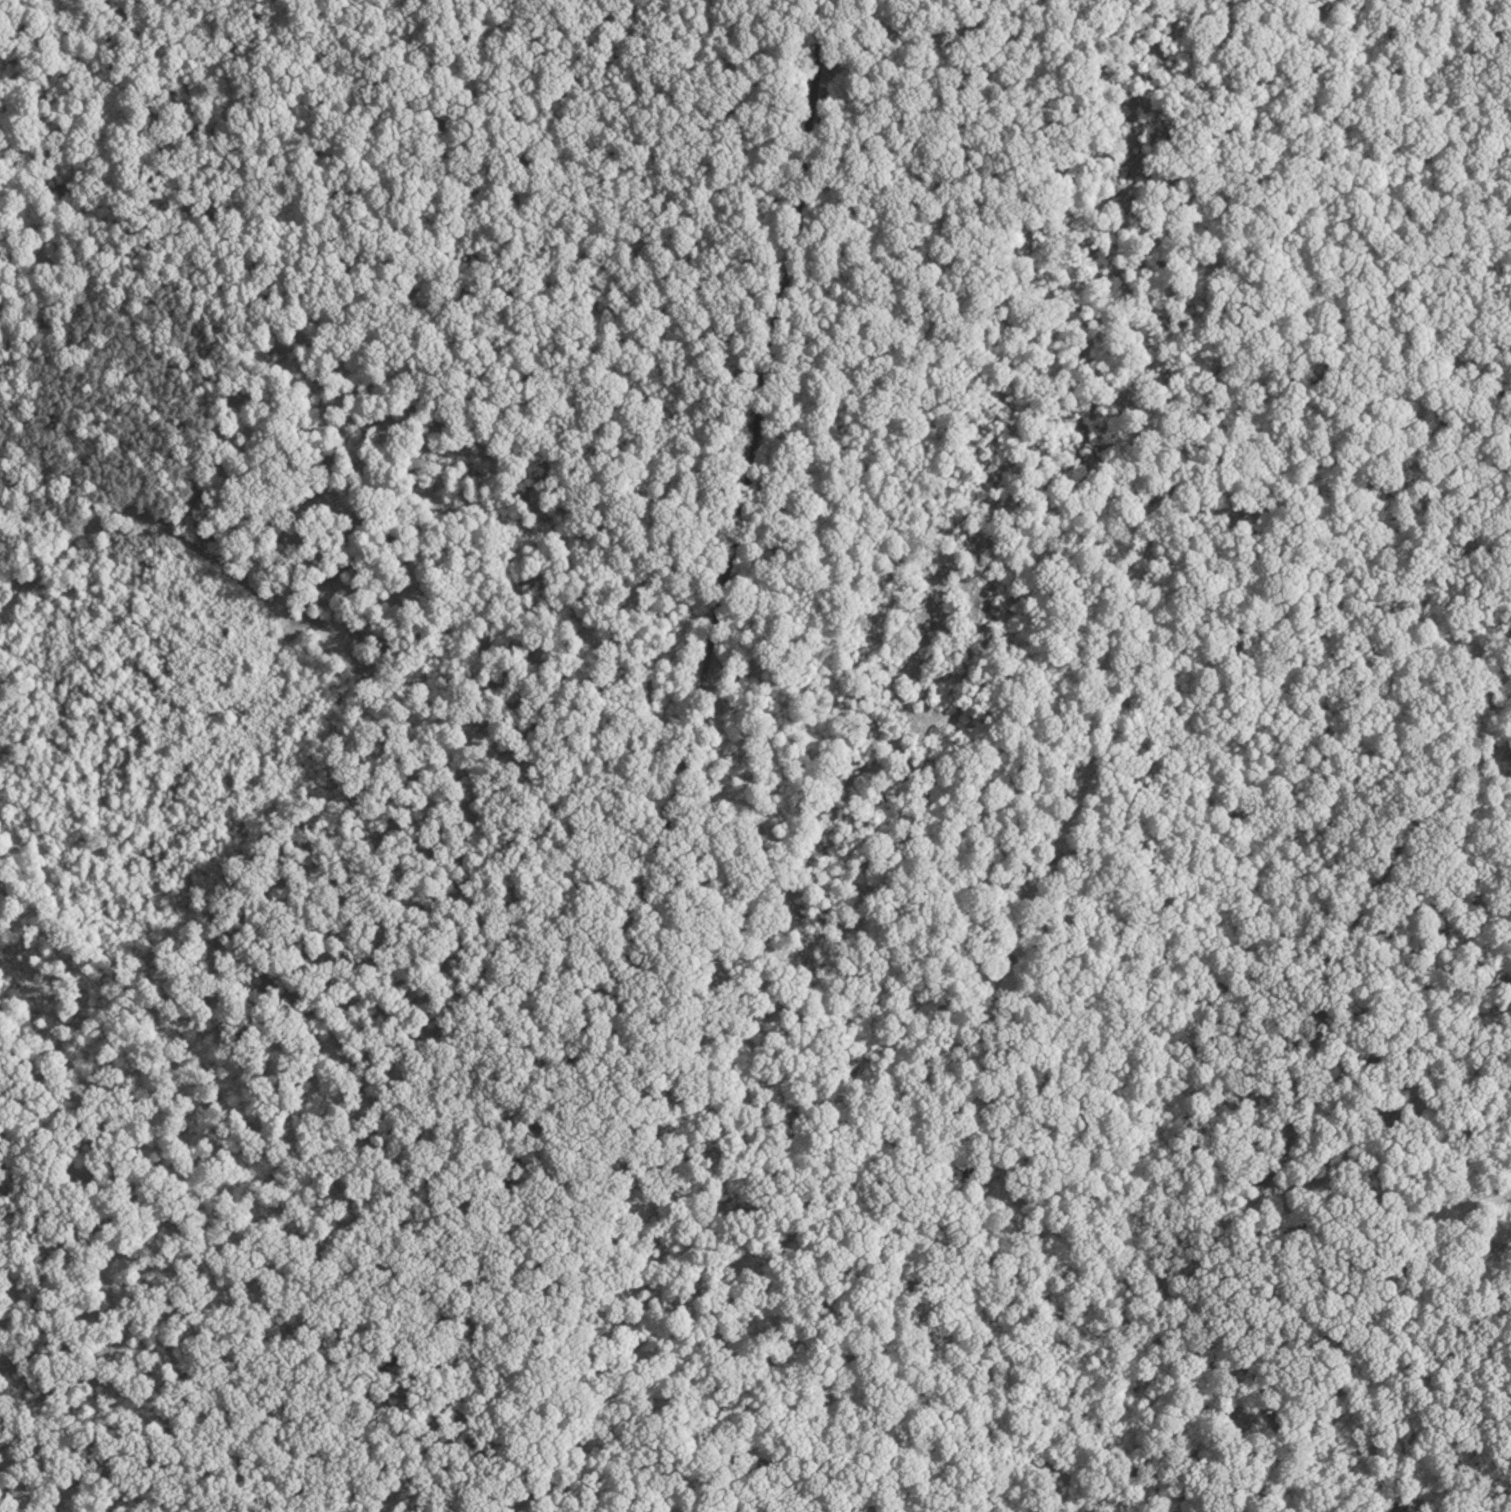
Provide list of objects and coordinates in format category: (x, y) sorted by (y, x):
road: (690, 798)

